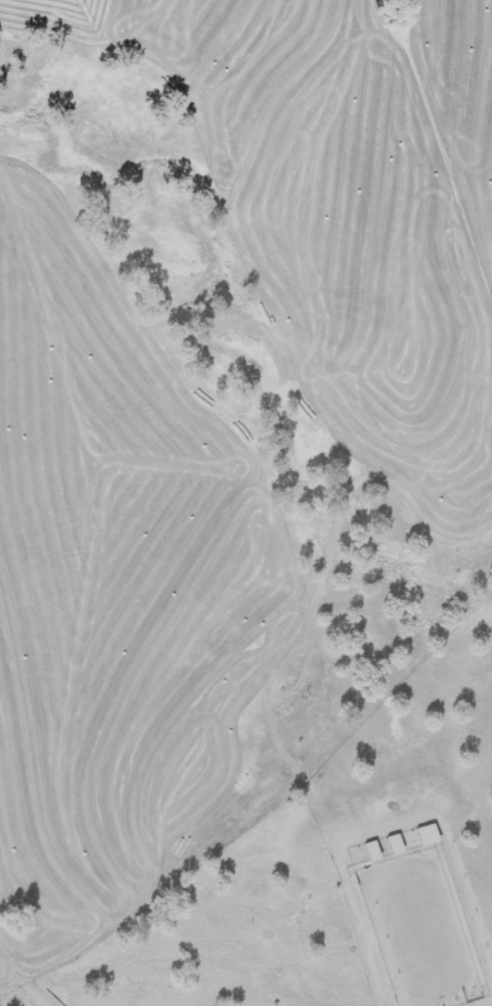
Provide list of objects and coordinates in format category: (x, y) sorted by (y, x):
building: (427, 834)
building: (395, 844)
building: (372, 850)

